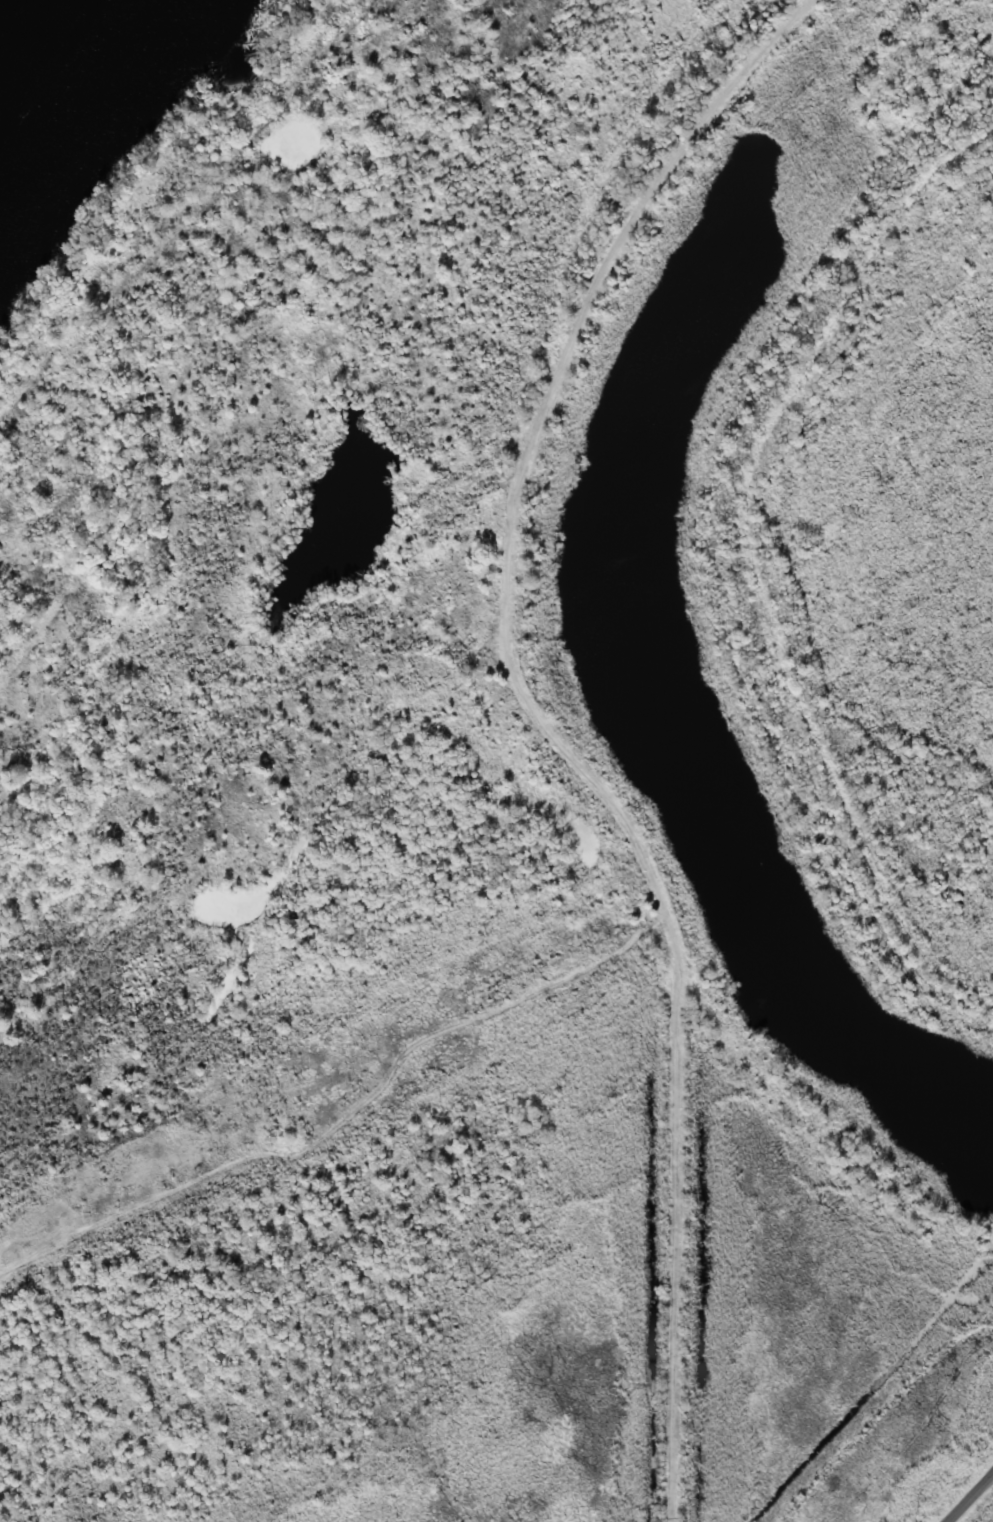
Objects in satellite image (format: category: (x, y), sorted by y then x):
road: (972, 1500)
road: (674, 1521)

